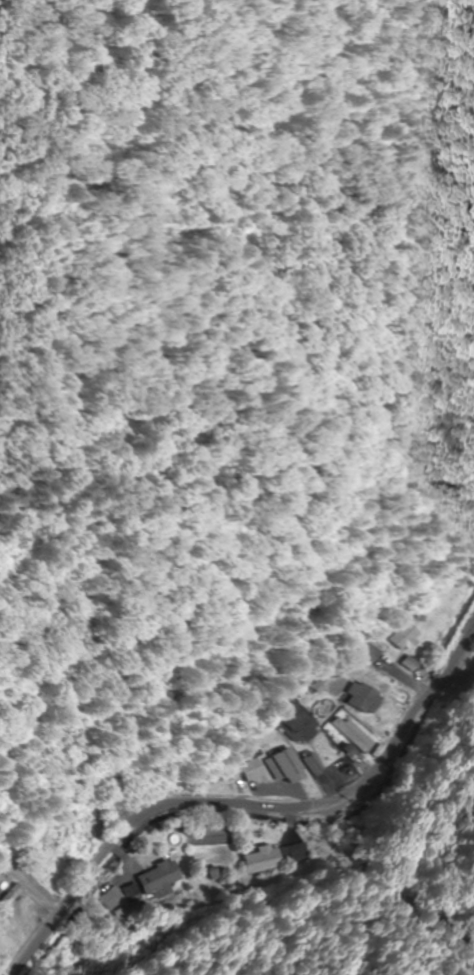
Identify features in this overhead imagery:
building: (437, 605)
building: (407, 638)
building: (376, 651)
building: (366, 699)
building: (301, 722)
building: (355, 734)
building: (317, 765)
building: (288, 767)
building: (253, 771)
road: (266, 809)
building: (297, 853)
building: (262, 859)
building: (158, 878)
building: (112, 898)

